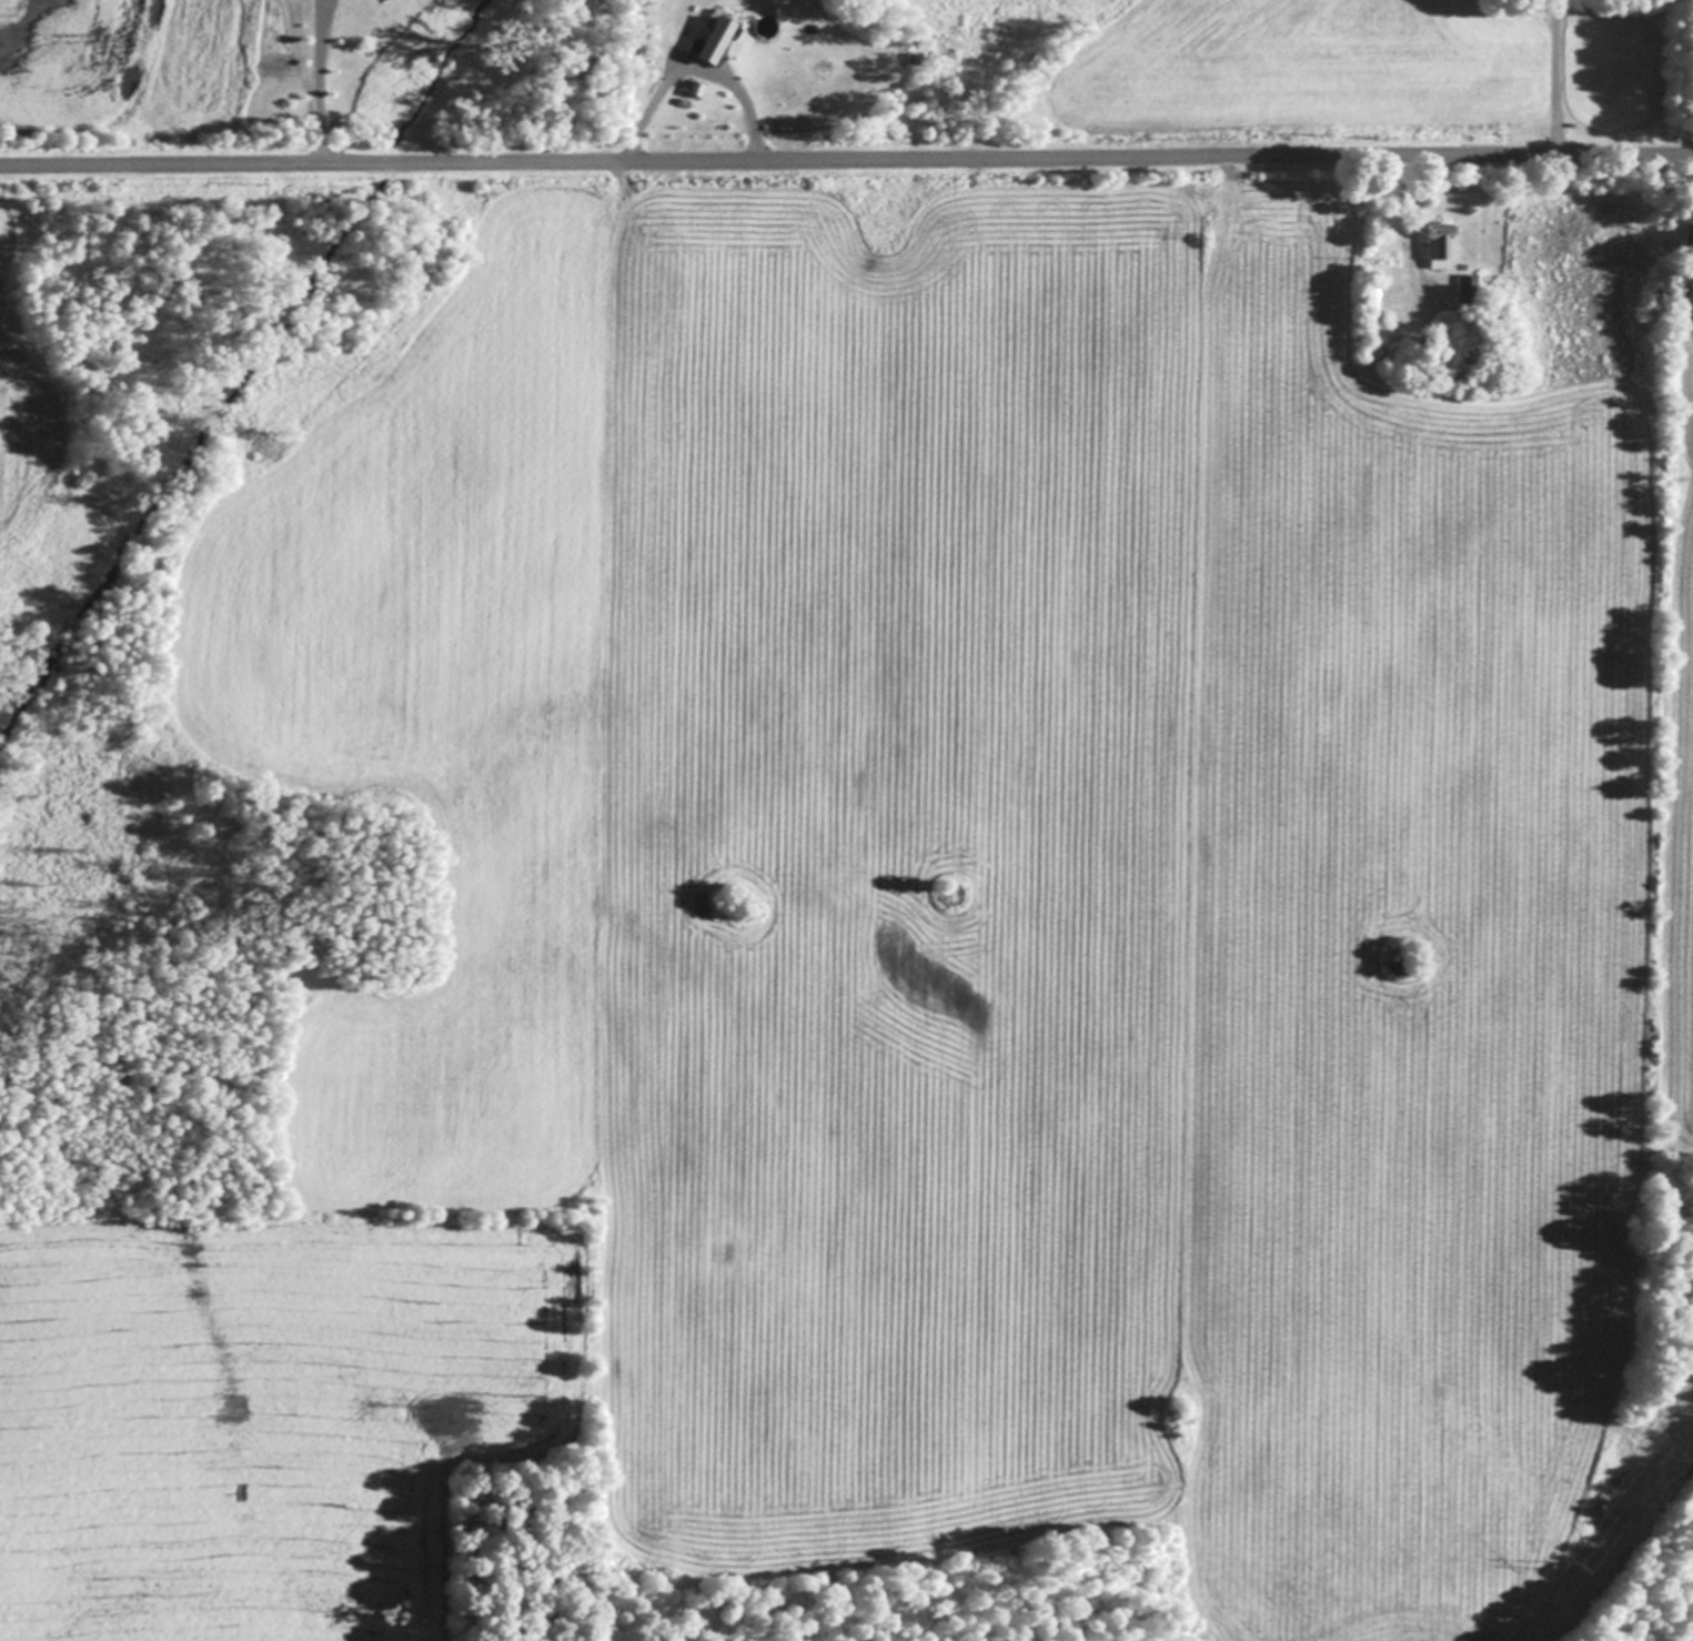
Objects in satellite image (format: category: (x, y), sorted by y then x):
building: (715, 42)
road: (1555, 75)
building: (695, 90)
road: (846, 157)
building: (1439, 248)
building: (1467, 291)
power tower: (1563, 1562)

